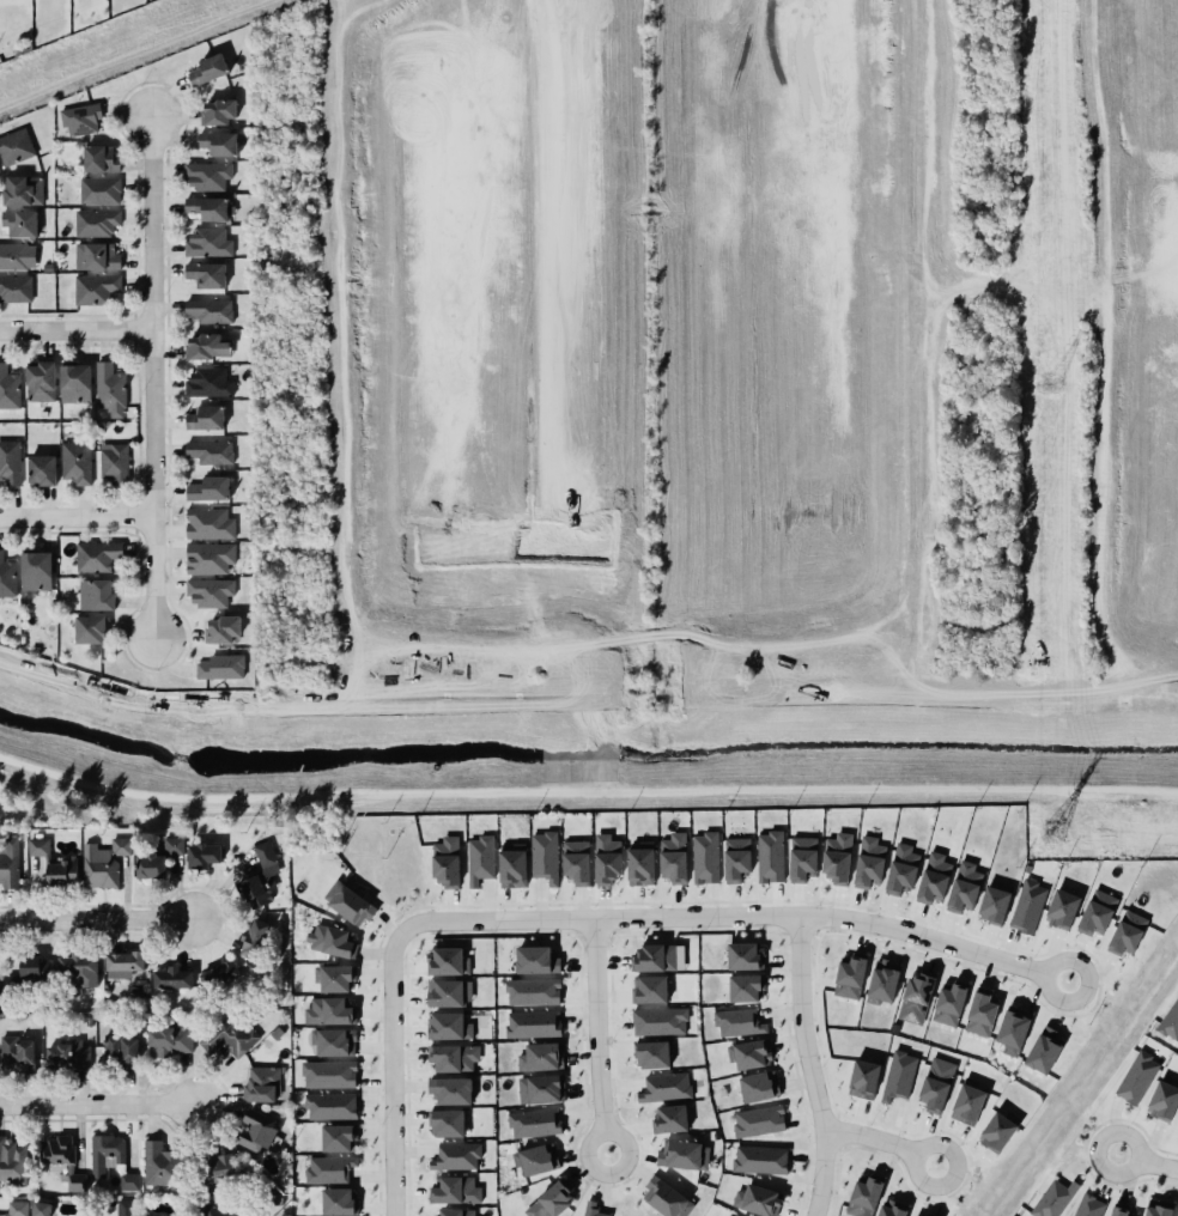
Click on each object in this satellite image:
building: (208, 69)
building: (219, 111)
road: (903, 113)
road: (924, 118)
building: (81, 120)
road: (339, 122)
road: (1101, 138)
building: (218, 144)
building: (16, 147)
building: (101, 159)
building: (208, 176)
building: (24, 191)
building: (99, 191)
building: (210, 208)
building: (97, 223)
building: (20, 224)
road: (912, 237)
building: (208, 243)
road: (299, 255)
building: (13, 256)
building: (97, 257)
road: (939, 266)
building: (207, 274)
road: (928, 274)
building: (16, 287)
building: (96, 288)
road: (945, 293)
road: (1037, 294)
building: (211, 311)
road: (74, 326)
building: (208, 347)
road: (150, 377)
building: (42, 382)
building: (75, 383)
building: (208, 383)
power tower: (1050, 384)
building: (10, 388)
building: (110, 389)
road: (905, 408)
road: (345, 412)
building: (205, 418)
building: (211, 451)
building: (77, 461)
building: (114, 461)
building: (10, 462)
building: (41, 469)
road: (1105, 473)
road: (927, 488)
building: (210, 490)
road: (75, 518)
building: (210, 524)
building: (98, 555)
building: (211, 558)
building: (37, 571)
building: (7, 576)
building: (210, 591)
road: (347, 591)
building: (97, 595)
building: (221, 625)
road: (910, 627)
building: (90, 630)
road: (809, 644)
road: (359, 651)
road: (312, 662)
building: (221, 667)
road: (912, 676)
road: (924, 677)
road: (1118, 677)
road: (1113, 682)
road: (696, 685)
road: (1153, 687)
road: (916, 689)
road: (1115, 689)
road: (357, 693)
road: (810, 694)
road: (1015, 697)
road: (1026, 697)
road: (718, 703)
road: (967, 703)
road: (1018, 704)
road: (714, 706)
road: (329, 710)
road: (481, 710)
road: (1069, 710)
road: (611, 713)
road: (600, 723)
road: (675, 724)
road: (589, 728)
road: (617, 738)
road: (585, 790)
power tower: (1053, 835)
building: (202, 852)
building: (547, 857)
building: (771, 857)
building: (674, 858)
building: (705, 858)
building: (838, 858)
building: (480, 859)
building: (607, 859)
building: (737, 859)
building: (802, 859)
building: (158, 861)
building: (8, 862)
building: (103, 862)
building: (447, 862)
building: (577, 862)
building: (869, 863)
building: (640, 864)
building: (903, 870)
building: (517, 871)
building: (259, 876)
building: (934, 881)
building: (965, 888)
building: (995, 904)
building: (351, 906)
building: (1028, 907)
building: (1062, 910)
building: (1098, 913)
road: (741, 914)
road: (96, 918)
building: (1128, 934)
building: (253, 937)
building: (332, 942)
building: (746, 956)
building: (660, 957)
building: (125, 961)
building: (538, 961)
building: (448, 962)
building: (31, 966)
building: (79, 969)
building: (219, 974)
building: (334, 974)
building: (174, 978)
building: (850, 978)
building: (884, 983)
building: (747, 989)
building: (650, 990)
building: (533, 992)
building: (450, 993)
building: (917, 997)
building: (951, 1004)
building: (330, 1011)
building: (982, 1013)
building: (1170, 1021)
building: (532, 1022)
building: (660, 1022)
building: (739, 1022)
building: (448, 1025)
building: (1013, 1030)
road: (599, 1034)
building: (229, 1038)
building: (170, 1040)
building: (336, 1042)
building: (121, 1048)
building: (1044, 1050)
building: (651, 1051)
building: (17, 1053)
building: (751, 1054)
building: (451, 1056)
building: (66, 1057)
building: (541, 1057)
road: (813, 1066)
road: (395, 1070)
building: (327, 1072)
building: (899, 1076)
building: (1136, 1078)
building: (864, 1080)
building: (260, 1083)
building: (664, 1086)
building: (937, 1087)
building: (449, 1088)
building: (760, 1088)
building: (541, 1089)
building: (1162, 1101)
building: (329, 1105)
building: (967, 1106)
road: (98, 1107)
building: (670, 1119)
building: (760, 1123)
building: (449, 1124)
building: (533, 1124)
building: (257, 1131)
building: (1000, 1133)
building: (339, 1138)
road: (884, 1139)
building: (104, 1151)
building: (681, 1153)
building: (456, 1157)
building: (534, 1157)
building: (62, 1160)
building: (12, 1161)
building: (760, 1161)
road: (1146, 1163)
building: (160, 1165)
building: (329, 1169)
building: (220, 1172)
building: (129, 1181)
building: (455, 1192)
building: (866, 1196)
building: (666, 1197)
building: (1052, 1198)
building: (336, 1200)
building: (552, 1200)
building: (758, 1200)
building: (1088, 1206)
building: (19, 1208)
building: (126, 1208)
building: (41, 1209)
building: (591, 1209)
building: (892, 1209)
building: (1159, 1209)
building: (1121, 1210)
building: (218, 1211)
building: (456, 1211)
building: (730, 1215)
building: (916, 1215)
building: (1177, 1215)

